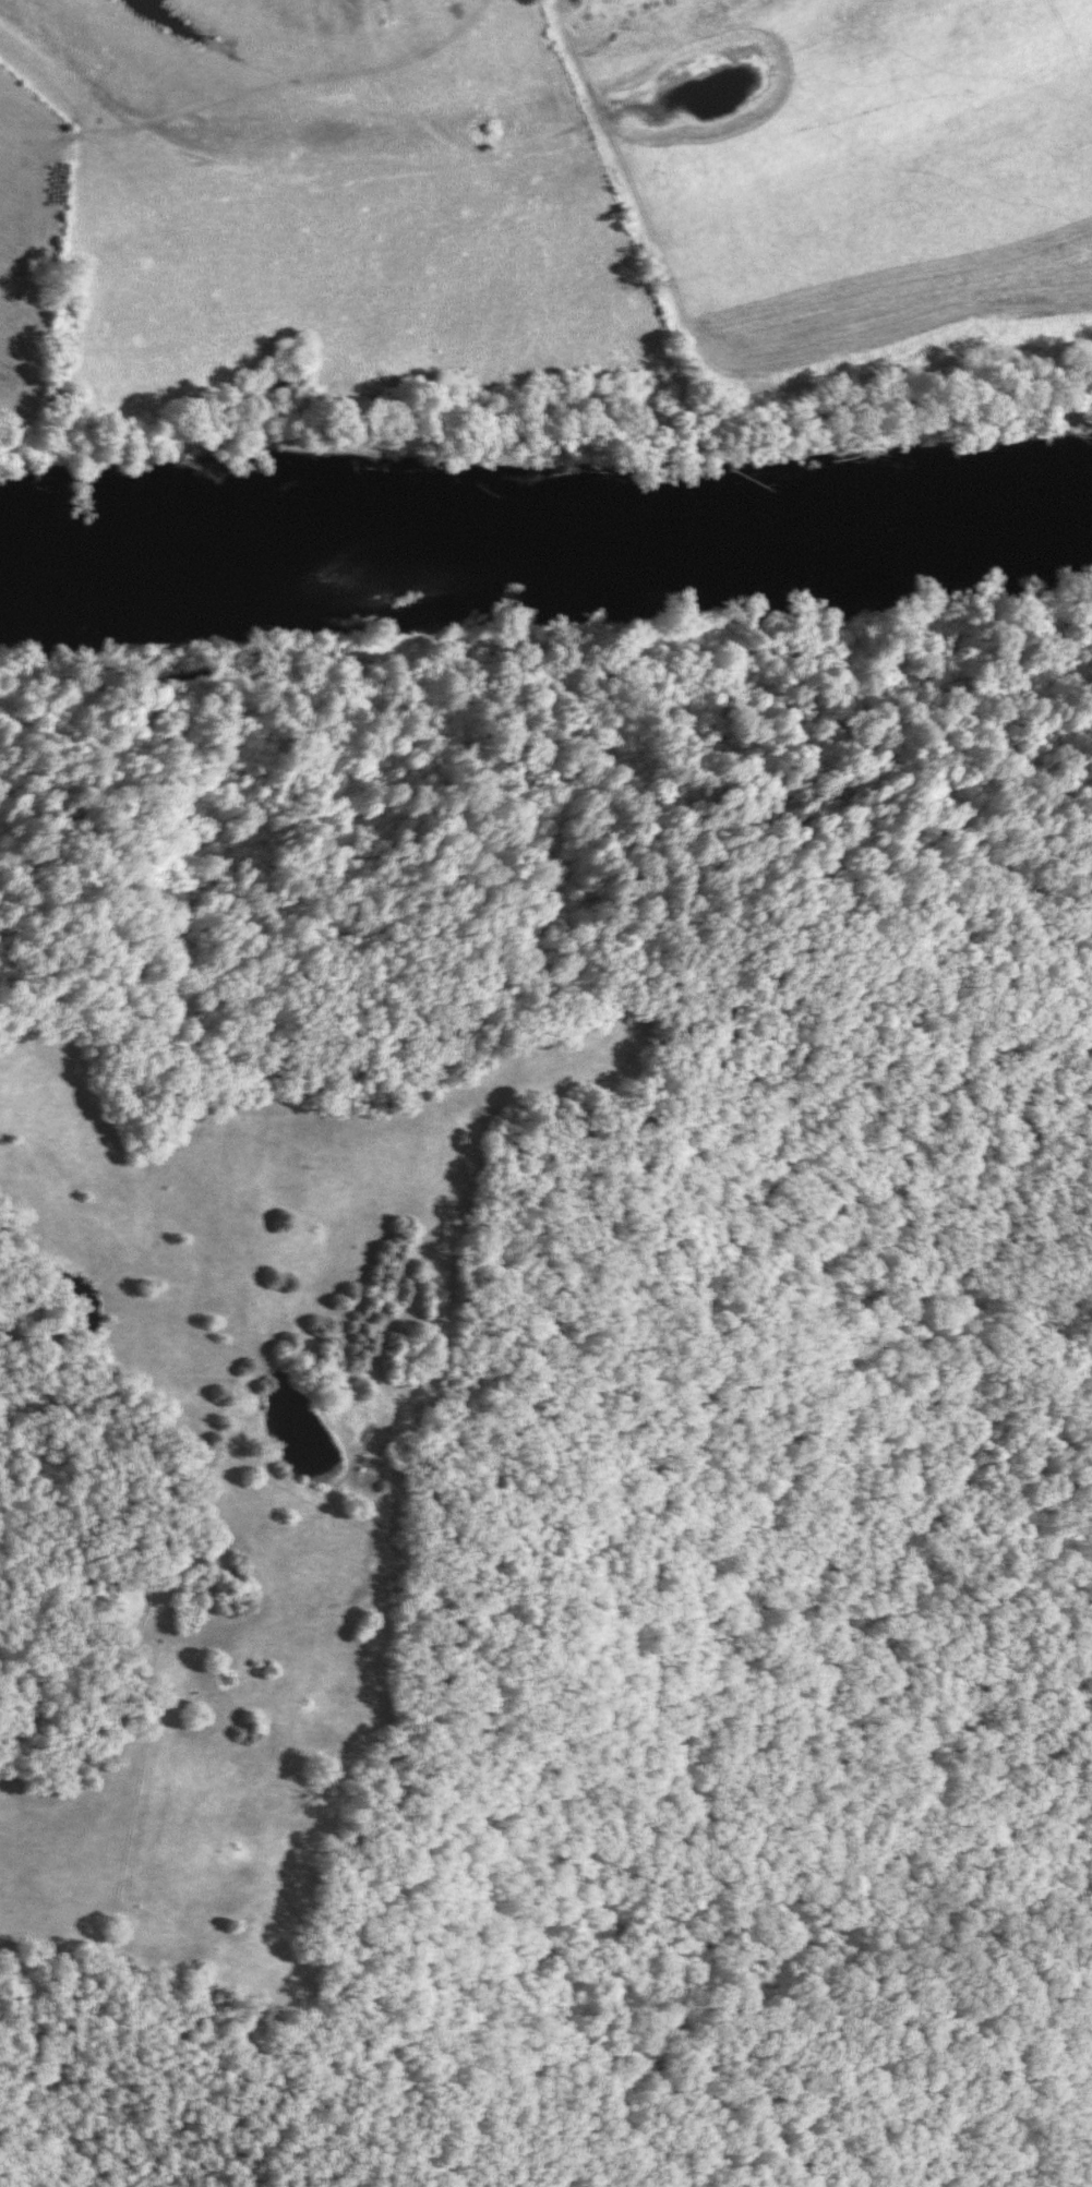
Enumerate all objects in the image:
river: (547, 569)

